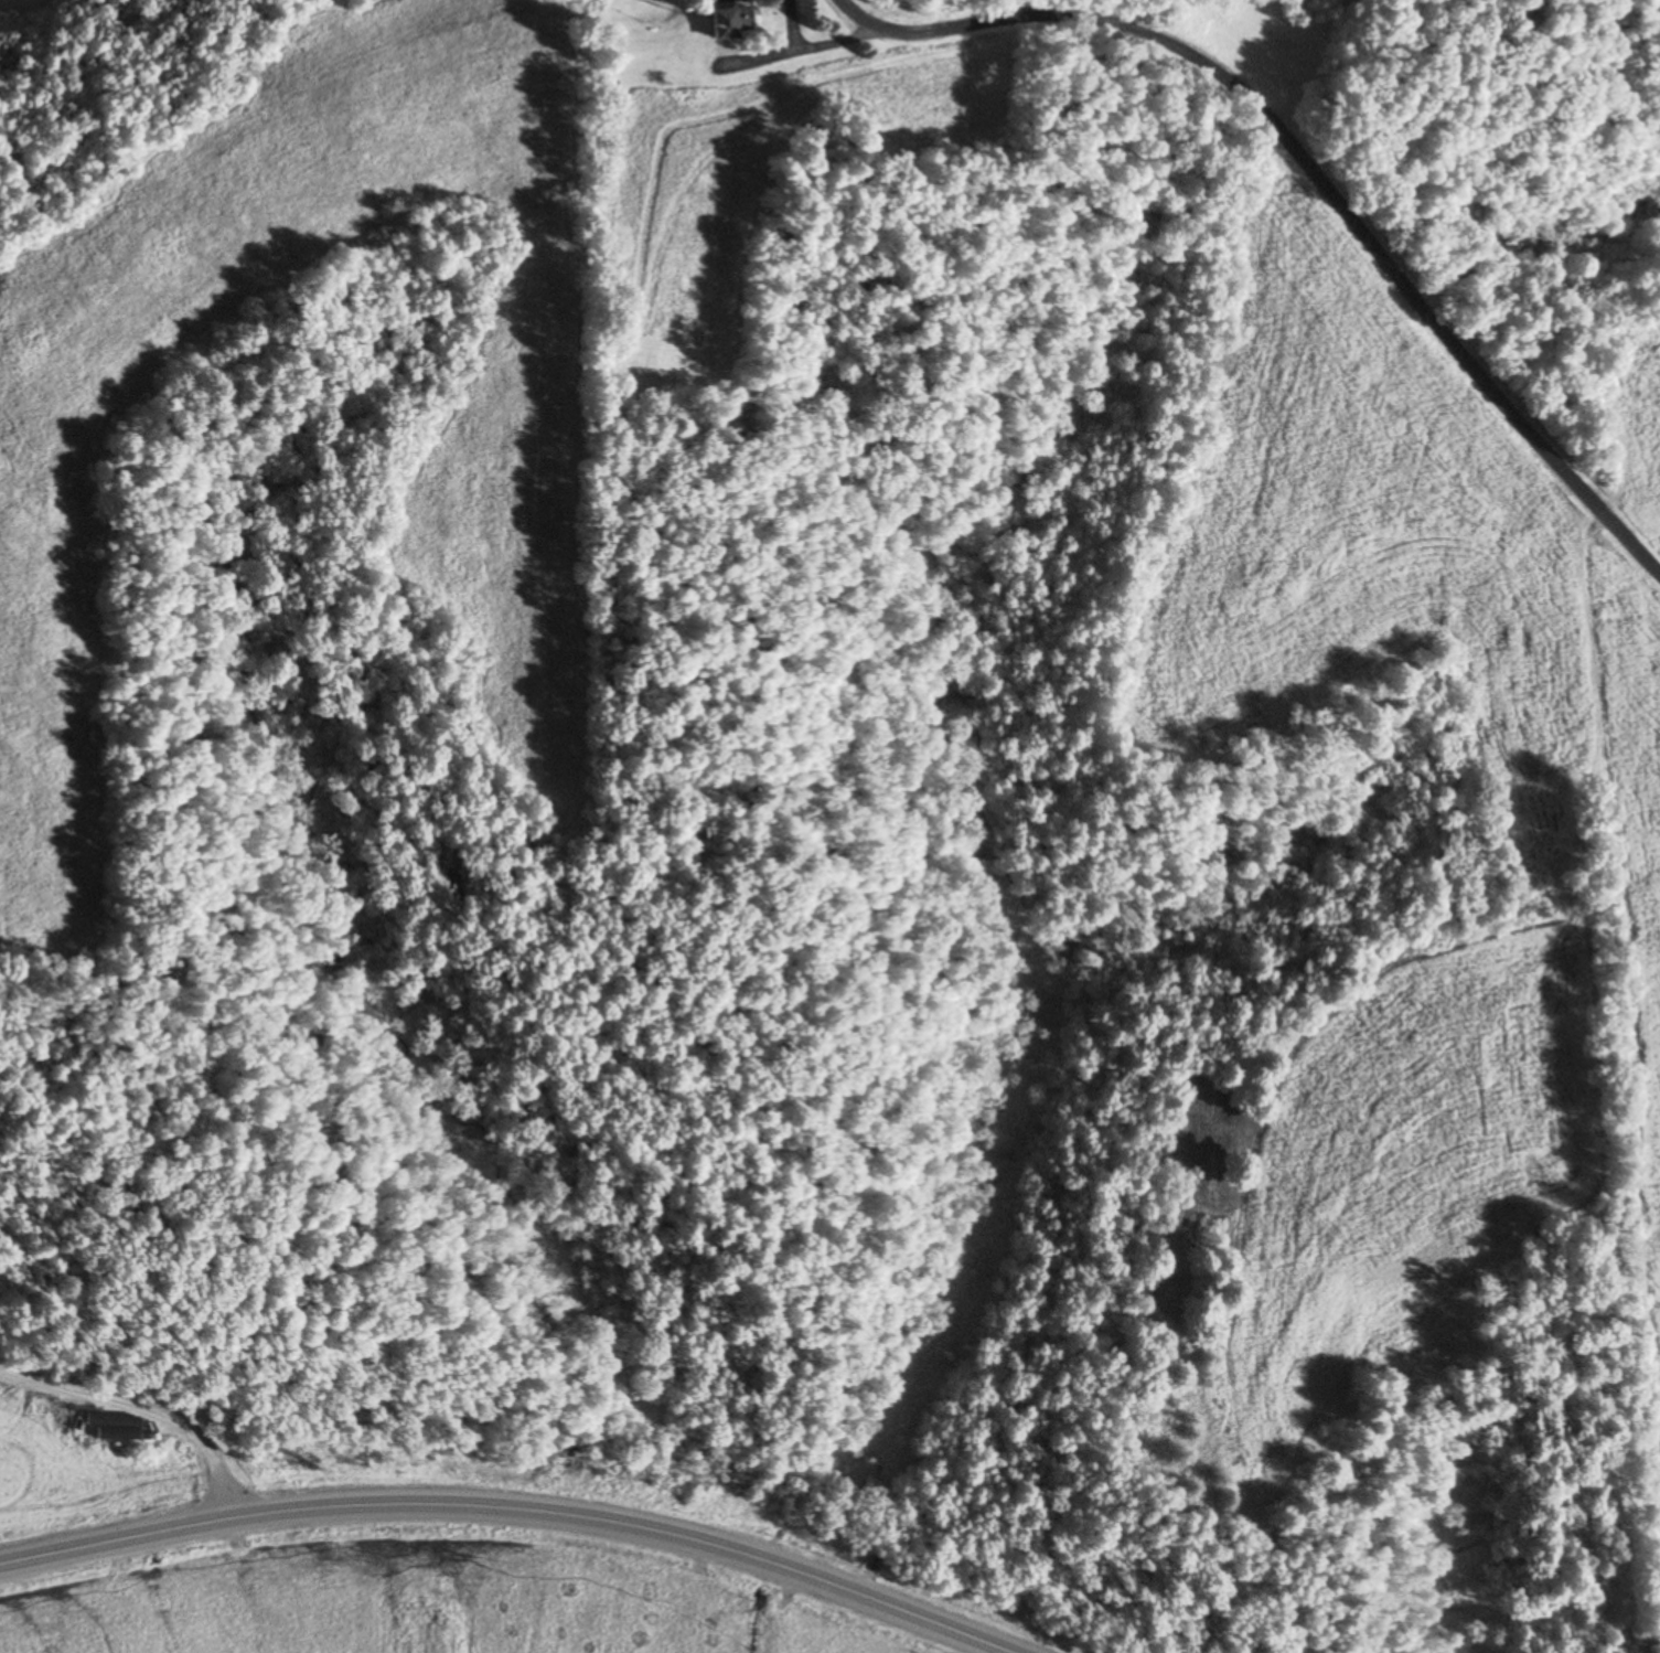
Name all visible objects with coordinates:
building: (725, 22)
road: (795, 47)
road: (1308, 173)
road: (154, 1376)
road: (510, 1506)

